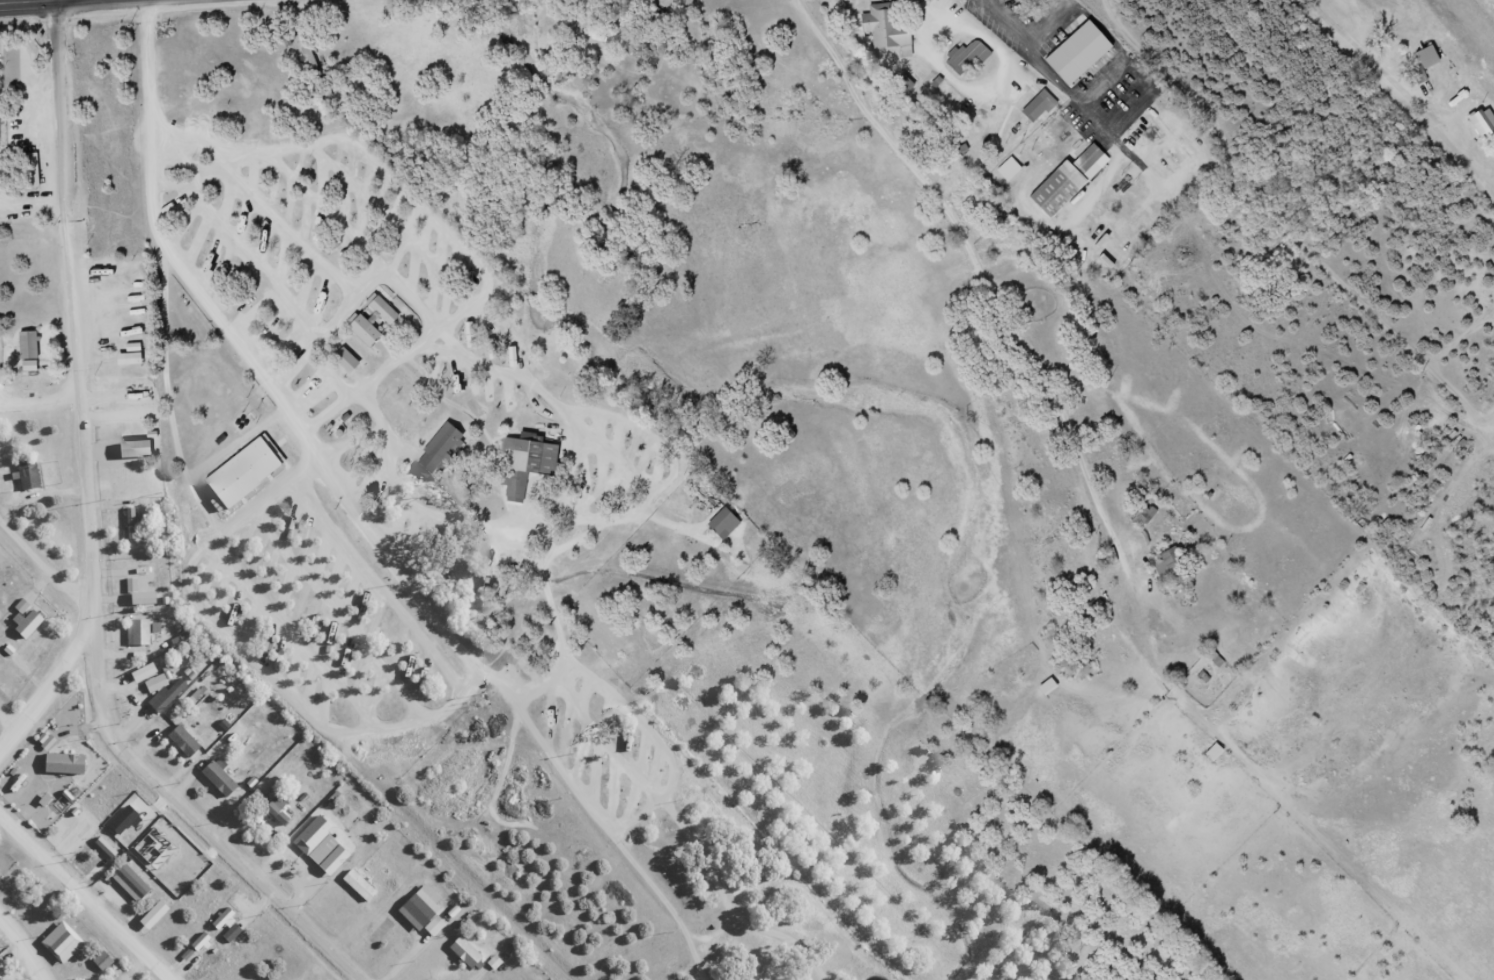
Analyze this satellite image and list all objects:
road: (44, 3)
building: (889, 29)
building: (968, 59)
building: (1089, 60)
building: (1424, 63)
road: (1397, 97)
building: (1039, 108)
building: (2, 126)
building: (1173, 151)
building: (1008, 171)
building: (1067, 183)
road: (410, 187)
road: (1275, 224)
building: (383, 312)
building: (363, 332)
building: (27, 347)
road: (332, 348)
building: (345, 362)
road: (1054, 383)
road: (381, 384)
road: (91, 395)
road: (45, 396)
road: (176, 399)
road: (584, 436)
building: (442, 447)
building: (528, 468)
building: (242, 473)
building: (26, 474)
road: (366, 516)
building: (1144, 517)
building: (129, 523)
building: (722, 525)
building: (1170, 568)
building: (138, 631)
road: (257, 656)
building: (1047, 688)
road: (11, 730)
building: (181, 741)
building: (1213, 753)
road: (147, 767)
building: (217, 779)
building: (275, 810)
building: (357, 885)
road: (85, 894)
road: (762, 927)
building: (77, 934)
road: (27, 943)

